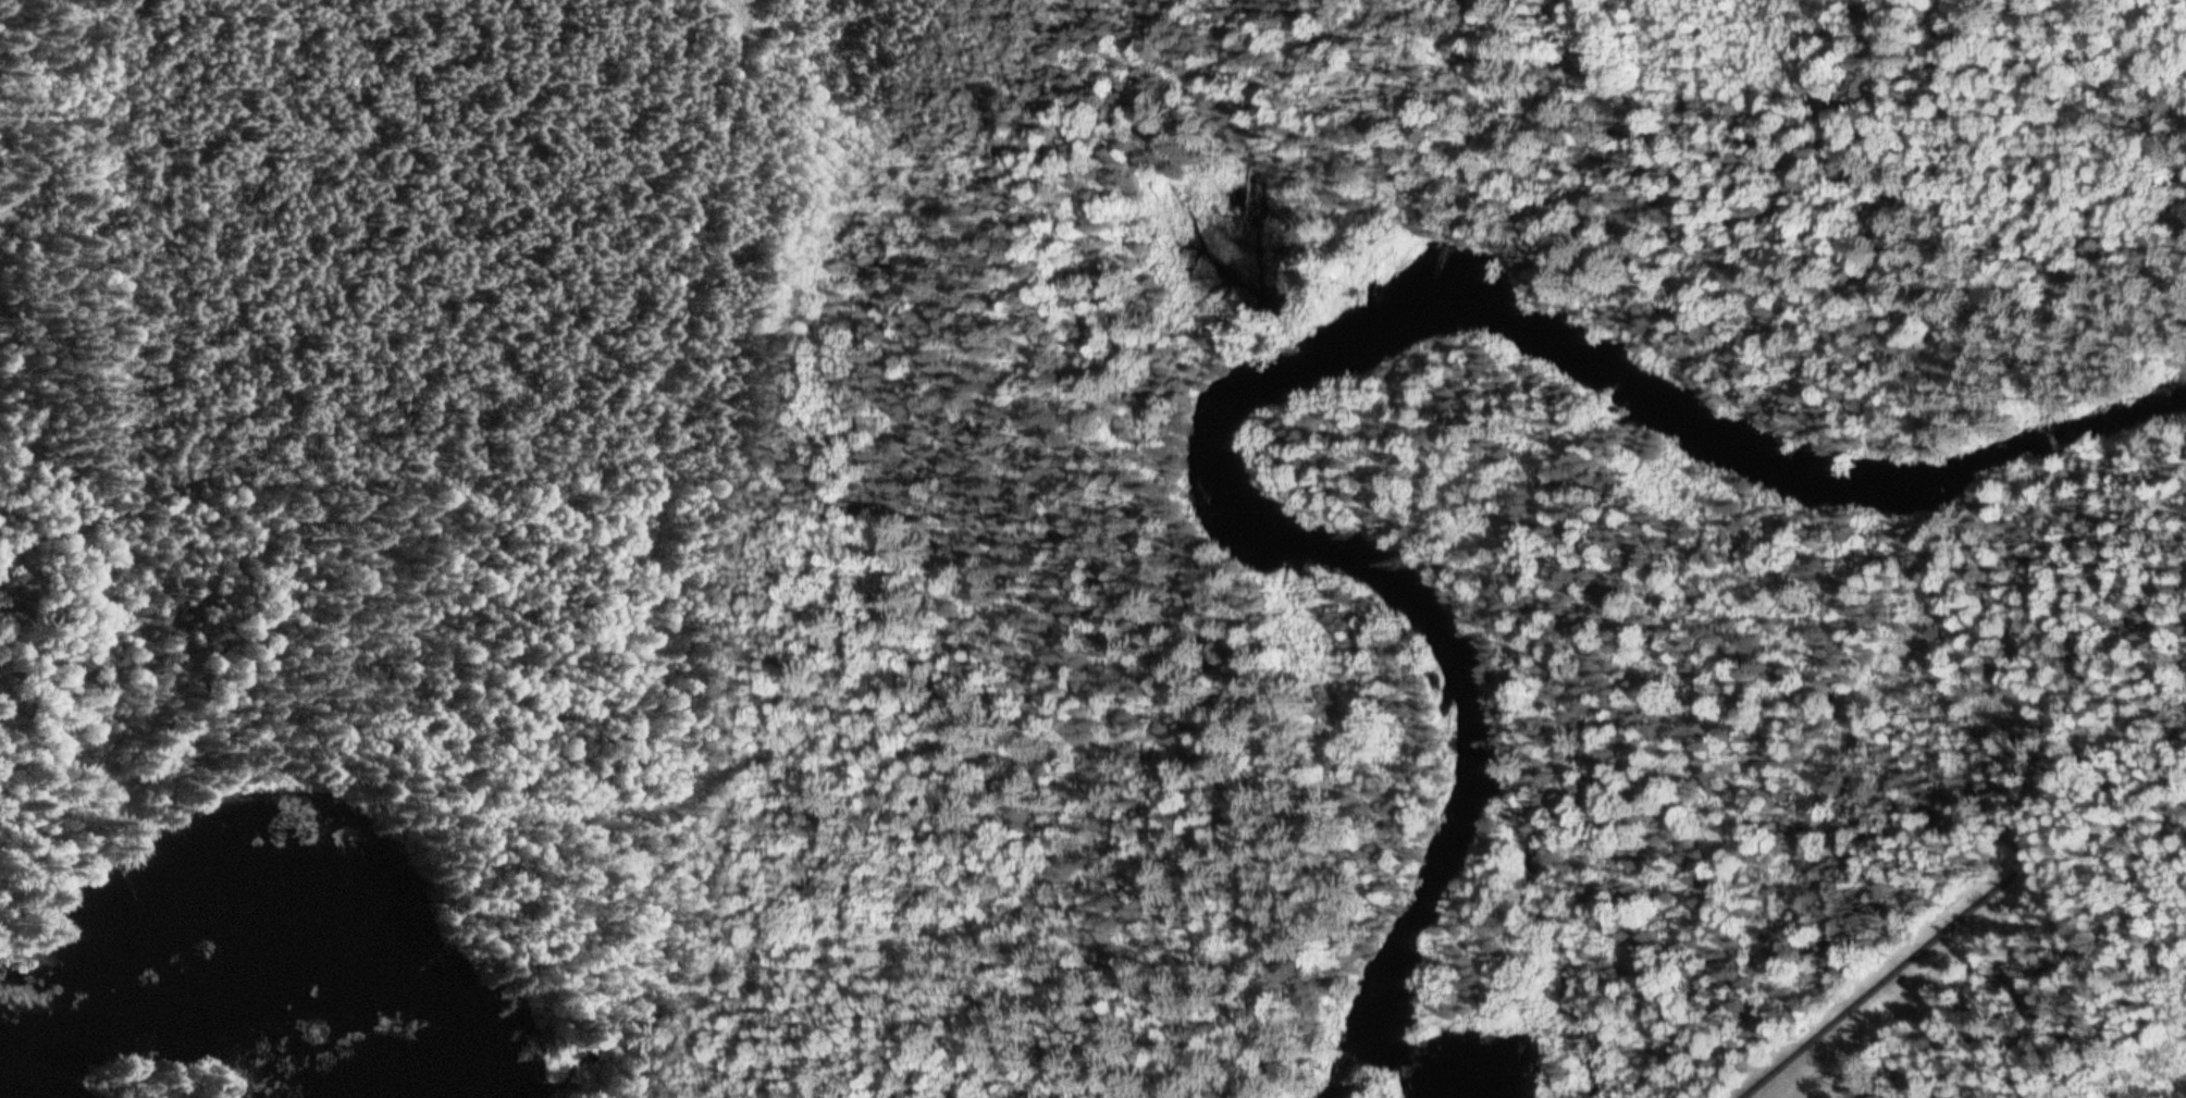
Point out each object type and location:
river: (1314, 375)
river: (1337, 1090)

